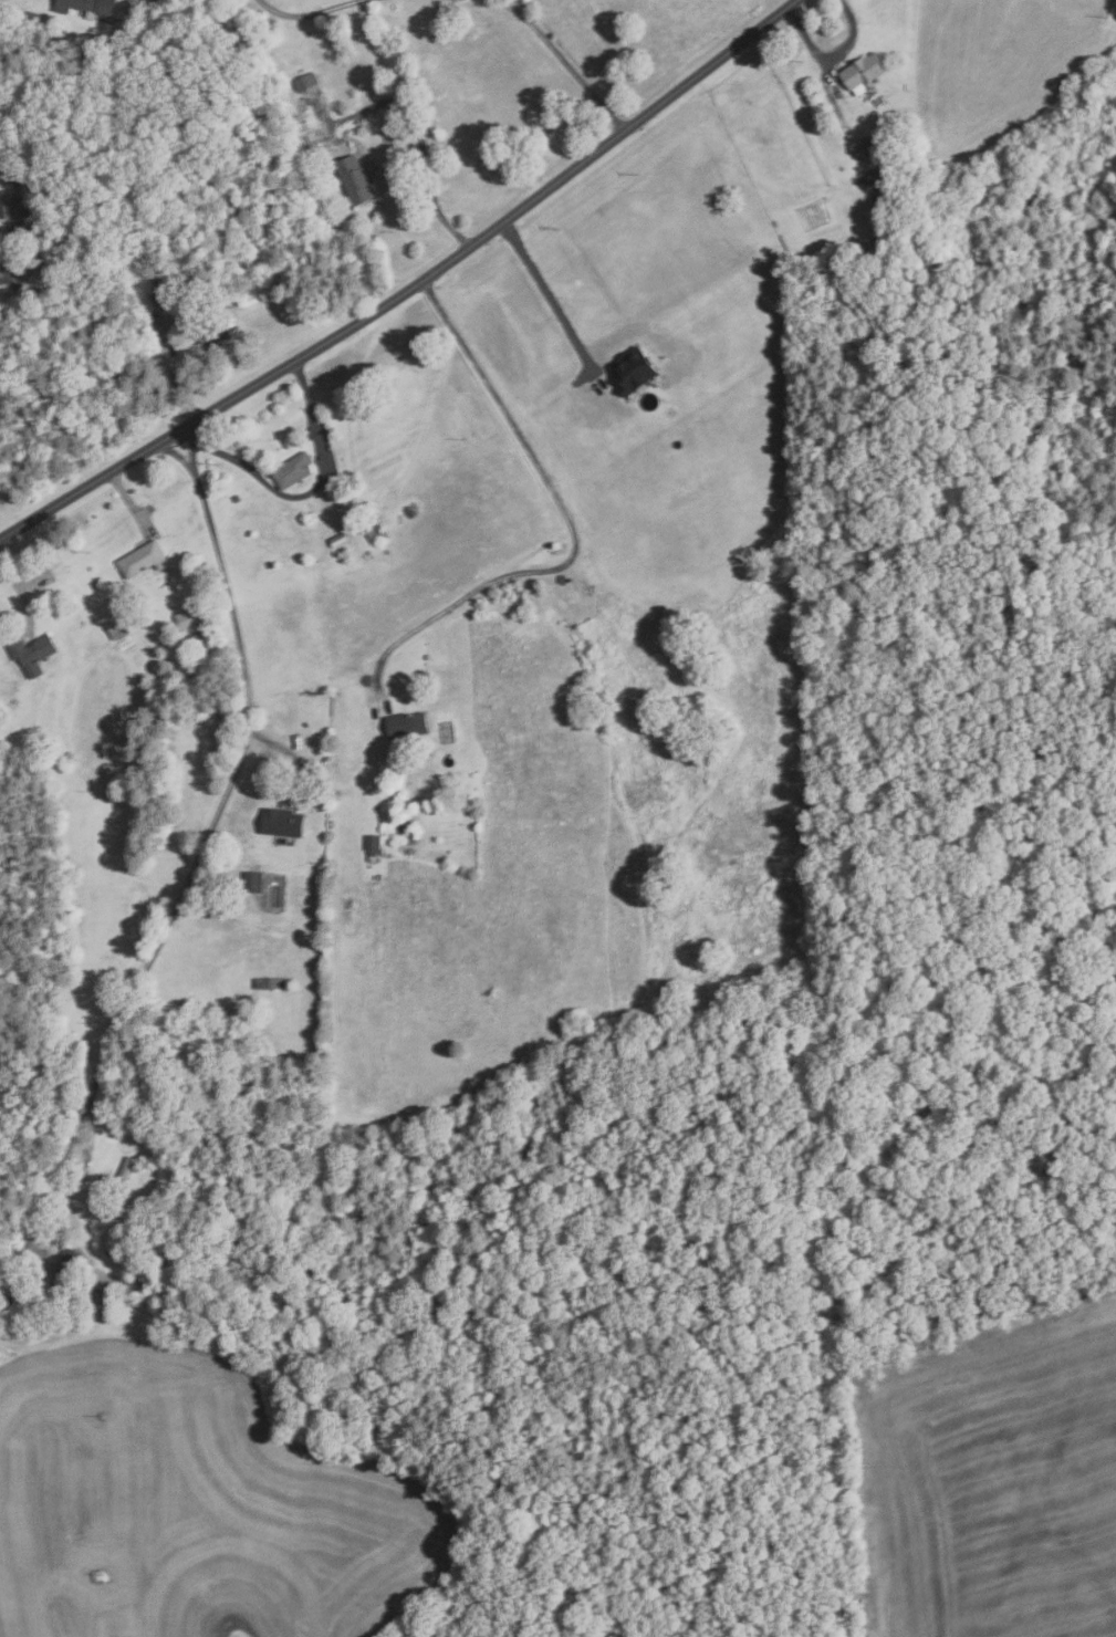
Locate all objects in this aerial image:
building: (163, 4)
building: (88, 6)
road: (302, 11)
building: (91, 38)
road: (831, 54)
road: (562, 60)
building: (862, 71)
building: (305, 82)
road: (420, 143)
building: (875, 143)
building: (357, 180)
building: (868, 180)
building: (49, 195)
building: (8, 205)
building: (59, 220)
building: (38, 254)
road: (2, 272)
road: (410, 285)
building: (164, 293)
road: (555, 306)
building: (211, 327)
building: (633, 371)
road: (190, 450)
road: (177, 456)
building: (294, 470)
road: (305, 493)
building: (238, 499)
building: (374, 531)
road: (573, 539)
building: (341, 540)
building: (557, 549)
building: (144, 560)
building: (191, 618)
building: (117, 628)
building: (198, 635)
building: (34, 654)
building: (409, 723)
building: (461, 801)
building: (441, 805)
building: (283, 822)
building: (376, 843)
building: (254, 880)
road: (182, 890)
building: (271, 983)
building: (180, 1151)
building: (125, 1177)
building: (152, 1201)
building: (122, 1254)
building: (69, 1268)
building: (138, 1285)
crop: (200, 1508)

